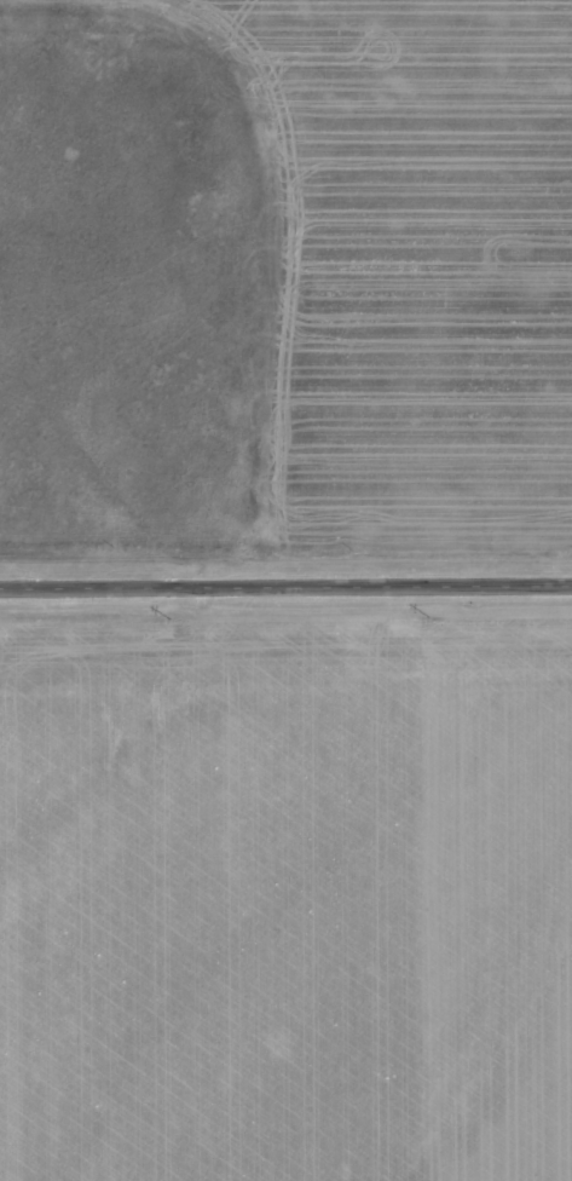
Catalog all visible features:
road: (285, 595)

